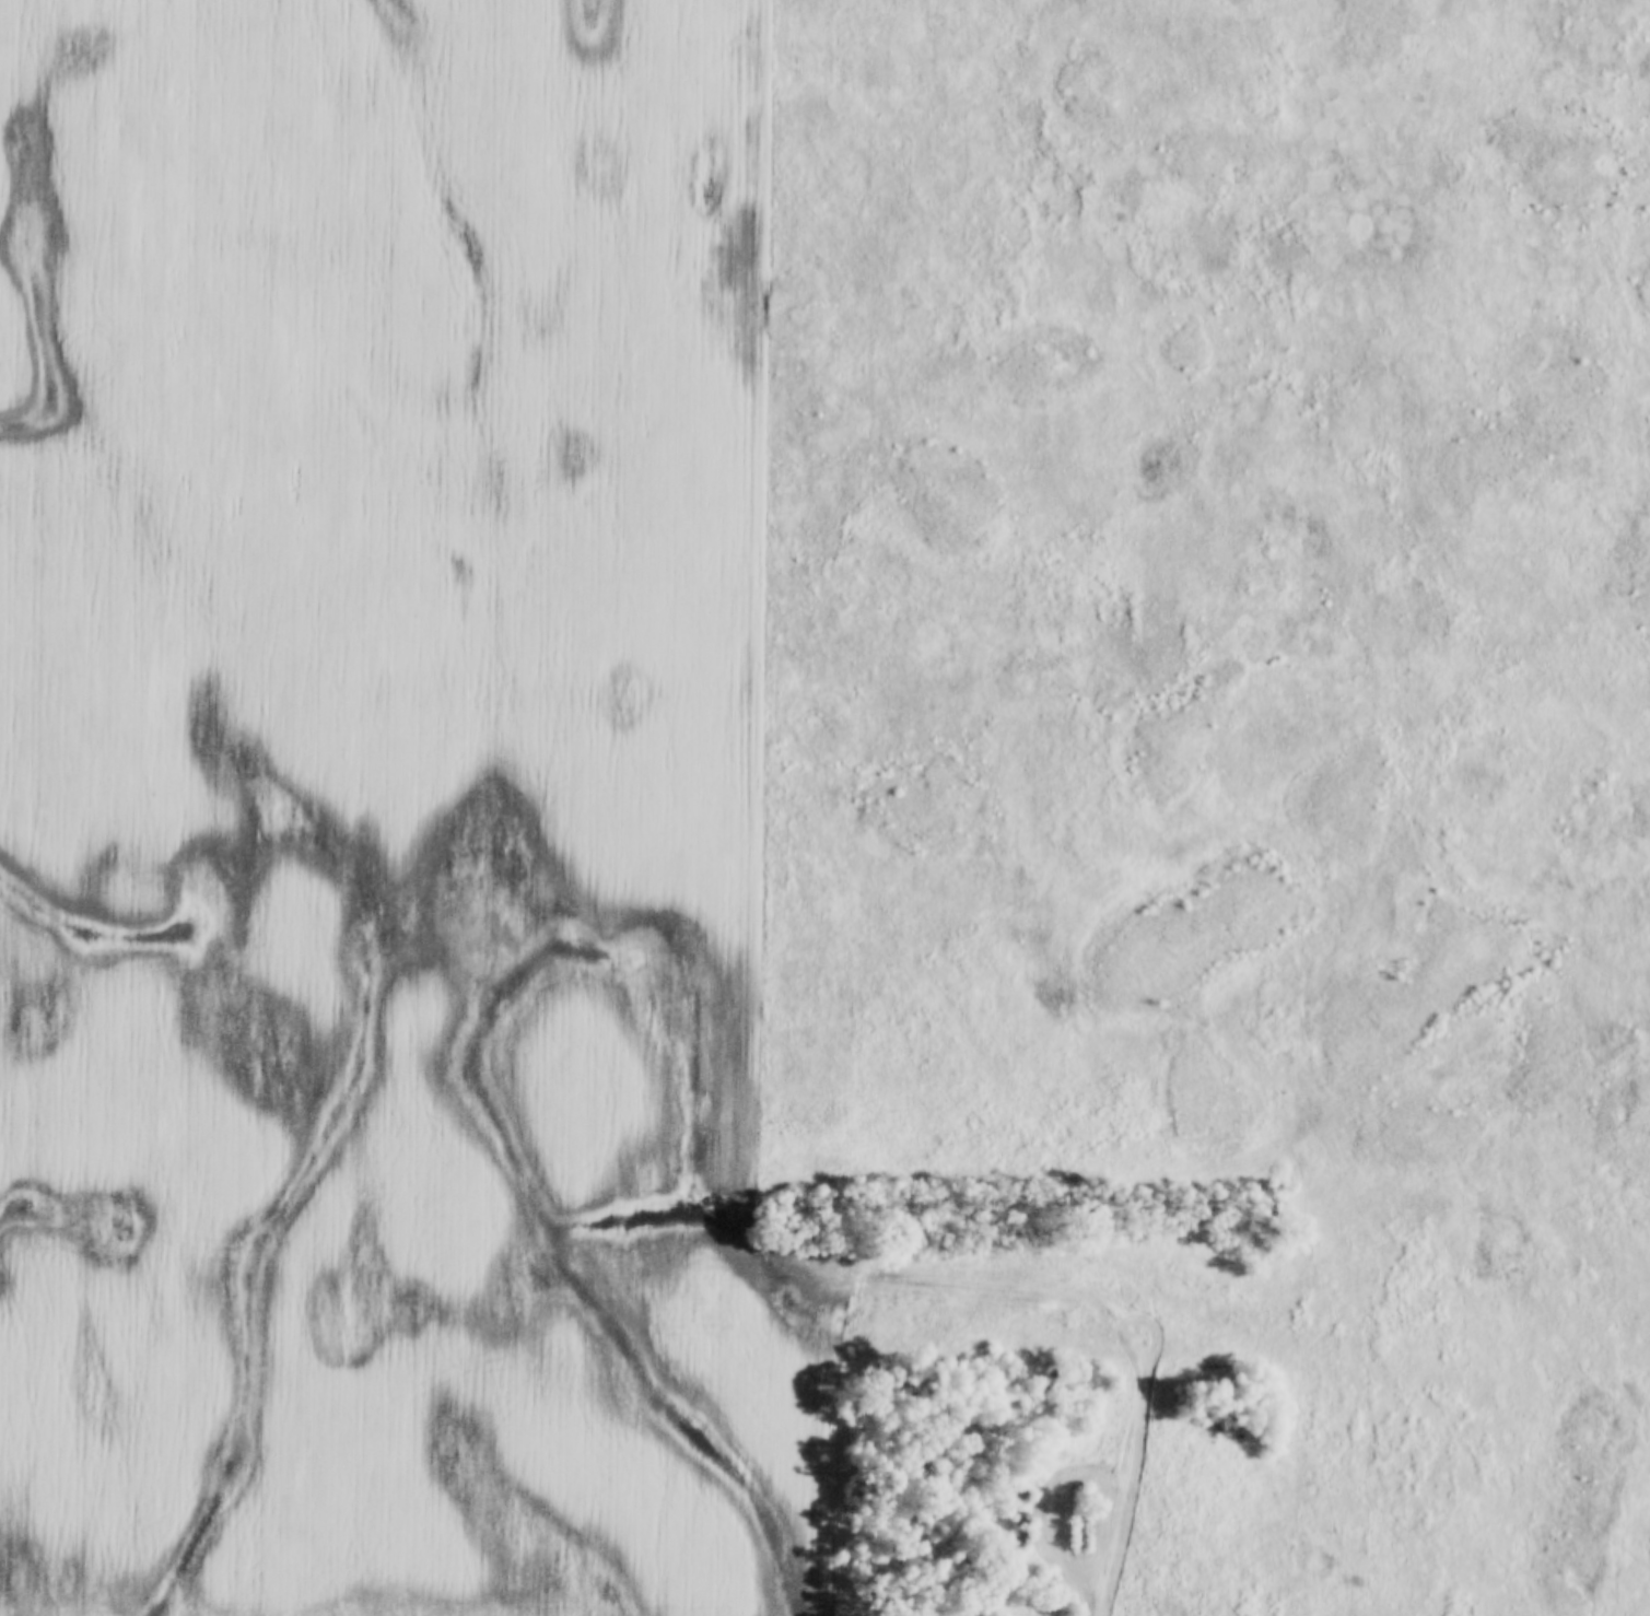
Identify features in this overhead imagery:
road: (1097, 1592)

